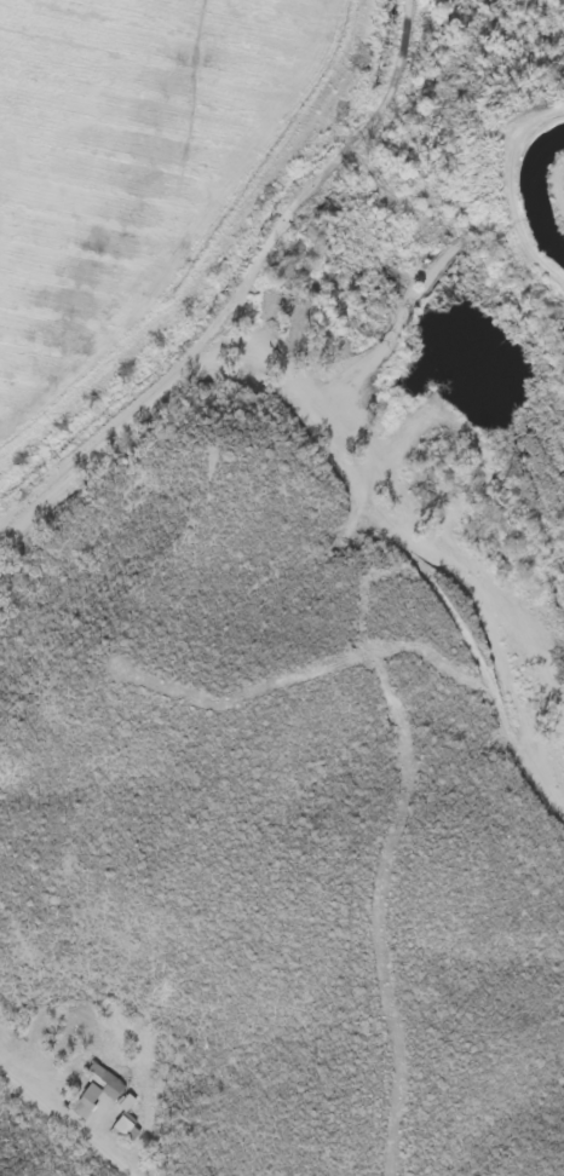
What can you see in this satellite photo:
building: (94, 1088)
road: (70, 1122)
building: (122, 1125)

